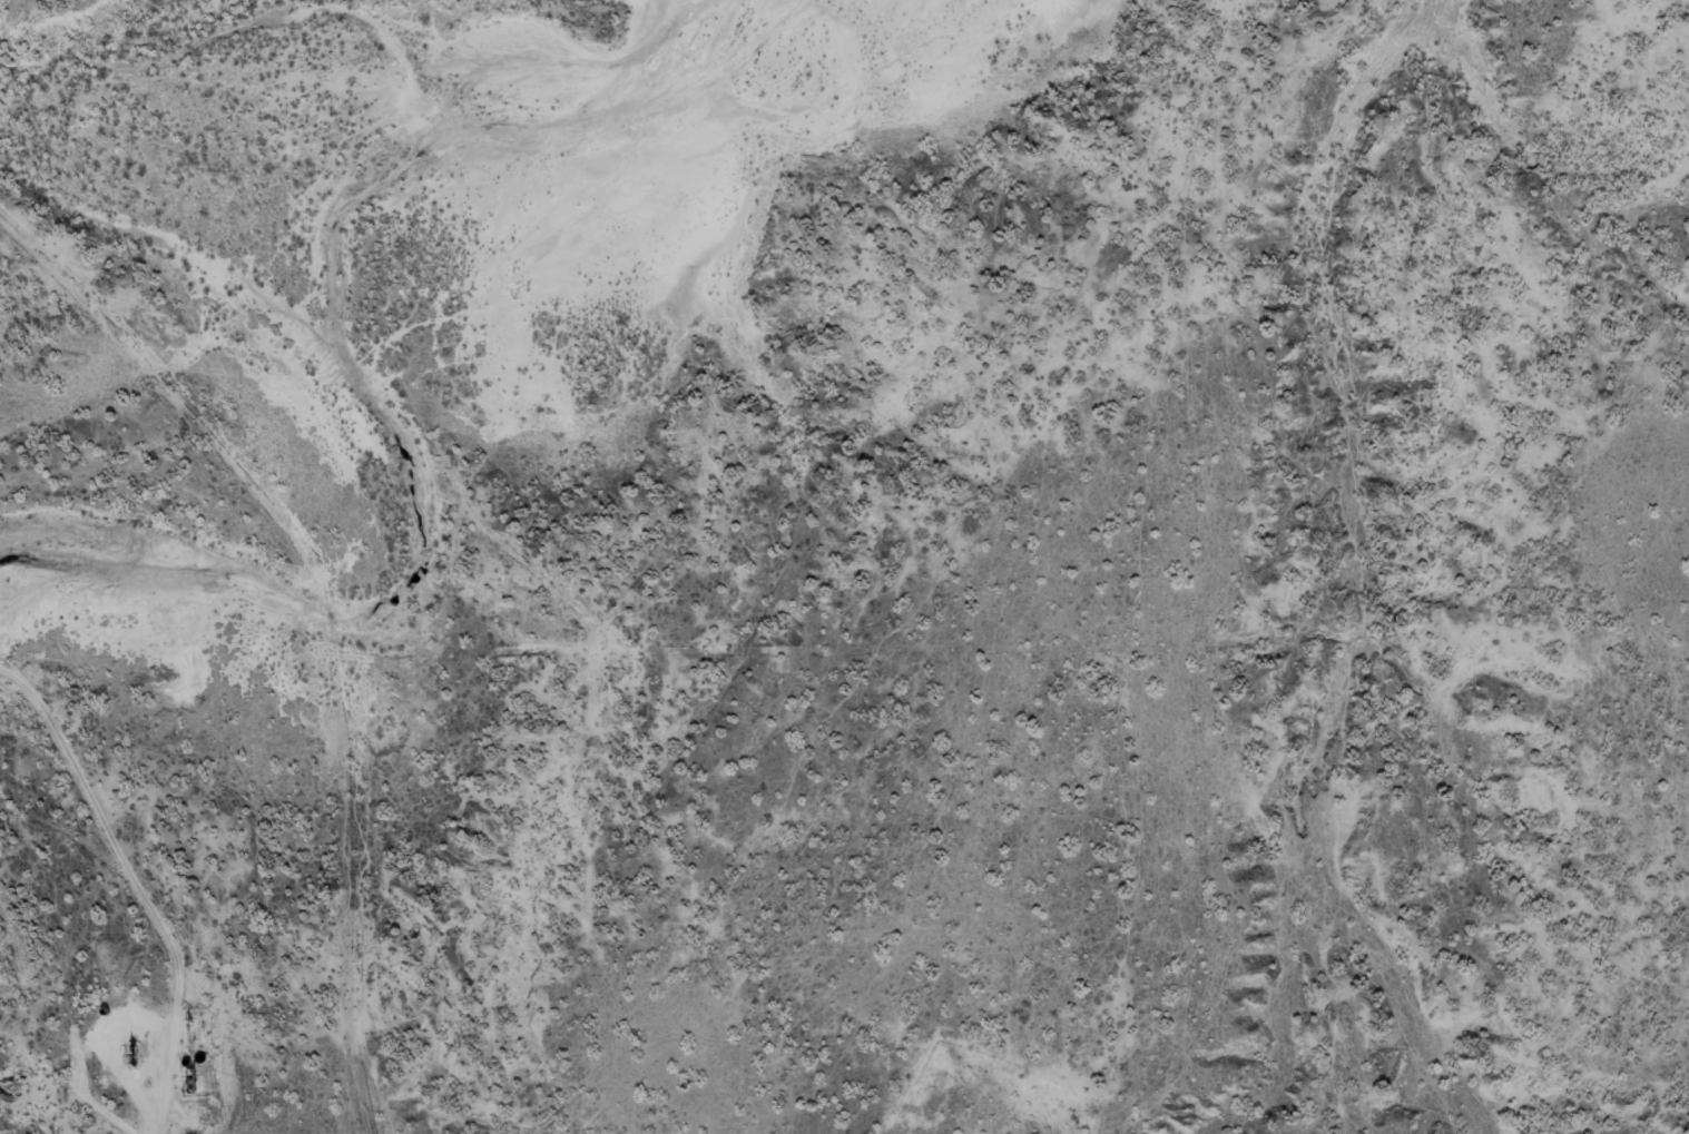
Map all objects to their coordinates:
road: (94, 913)

